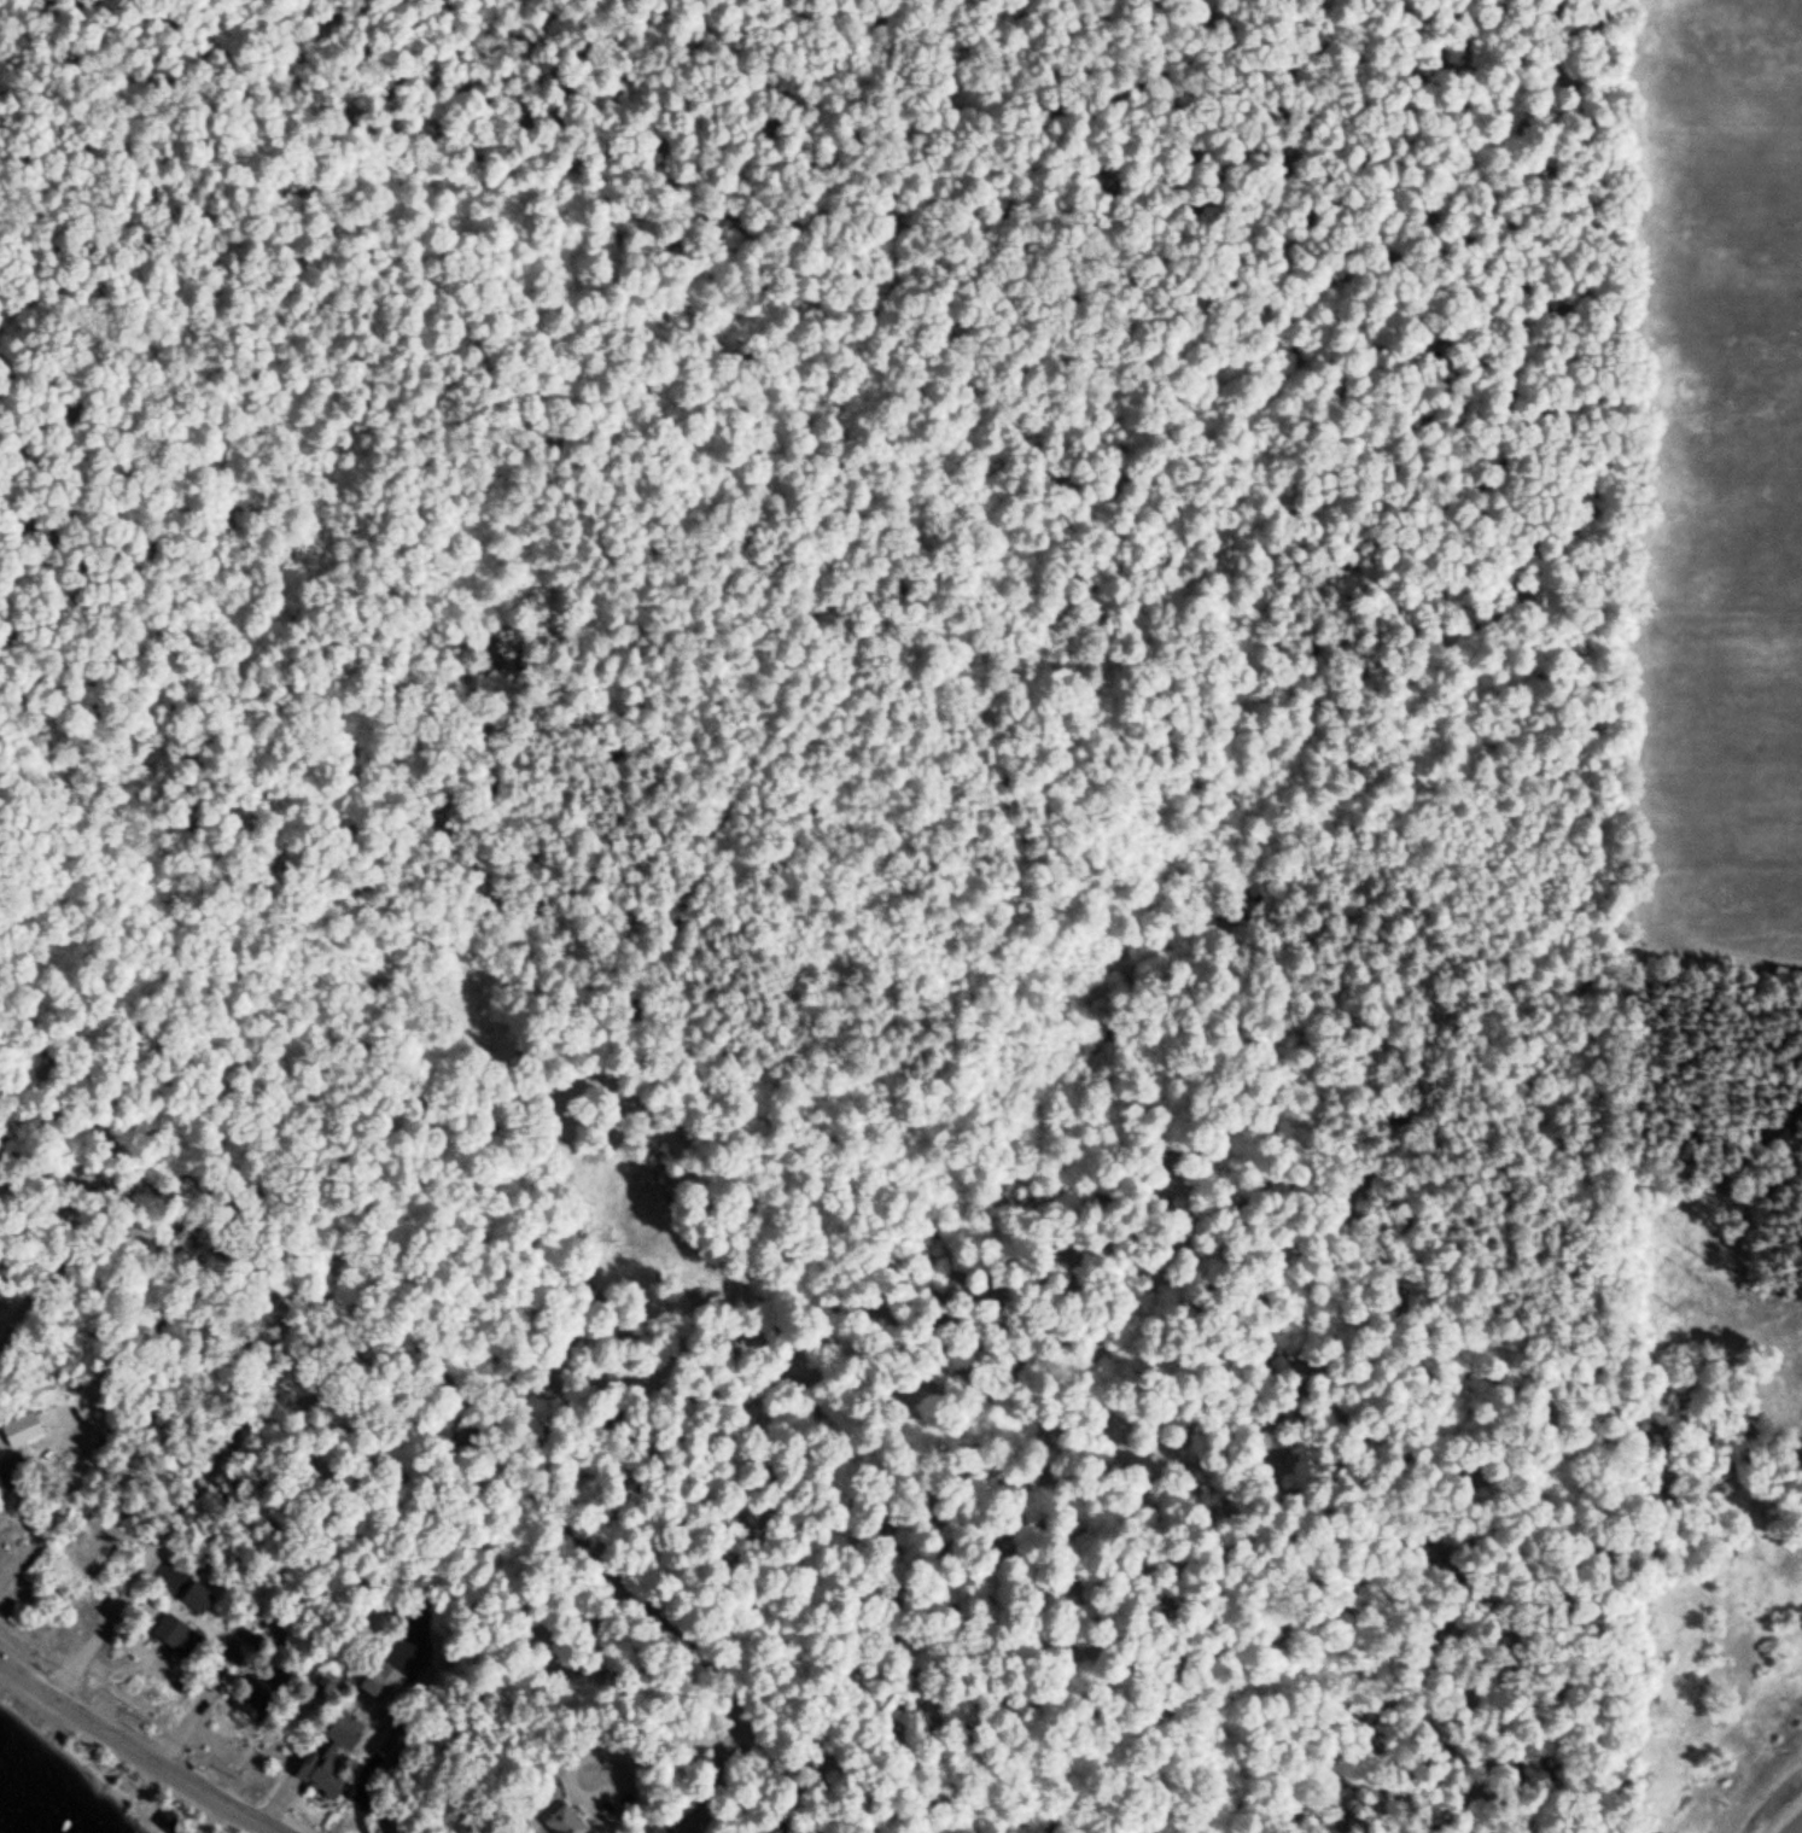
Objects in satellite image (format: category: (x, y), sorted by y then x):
road: (71, 1256)
road: (239, 1376)
building: (19, 1432)
building: (5, 1478)
road: (611, 1571)
building: (193, 1600)
building: (176, 1636)
building: (379, 1683)
road: (132, 1752)
building: (330, 1758)
road: (781, 1776)
road: (718, 1777)
road: (1783, 1815)
building: (161, 1823)
building: (652, 1831)

